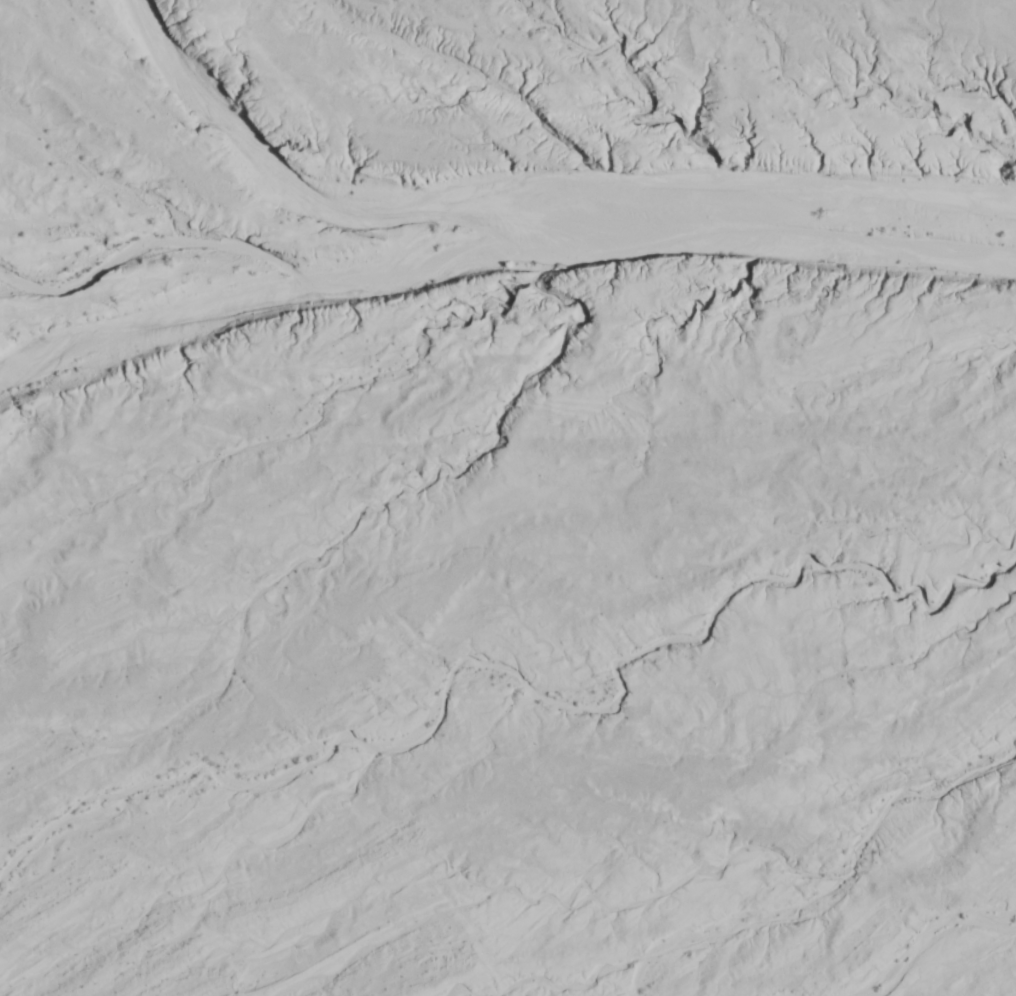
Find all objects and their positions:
road: (527, 215)

